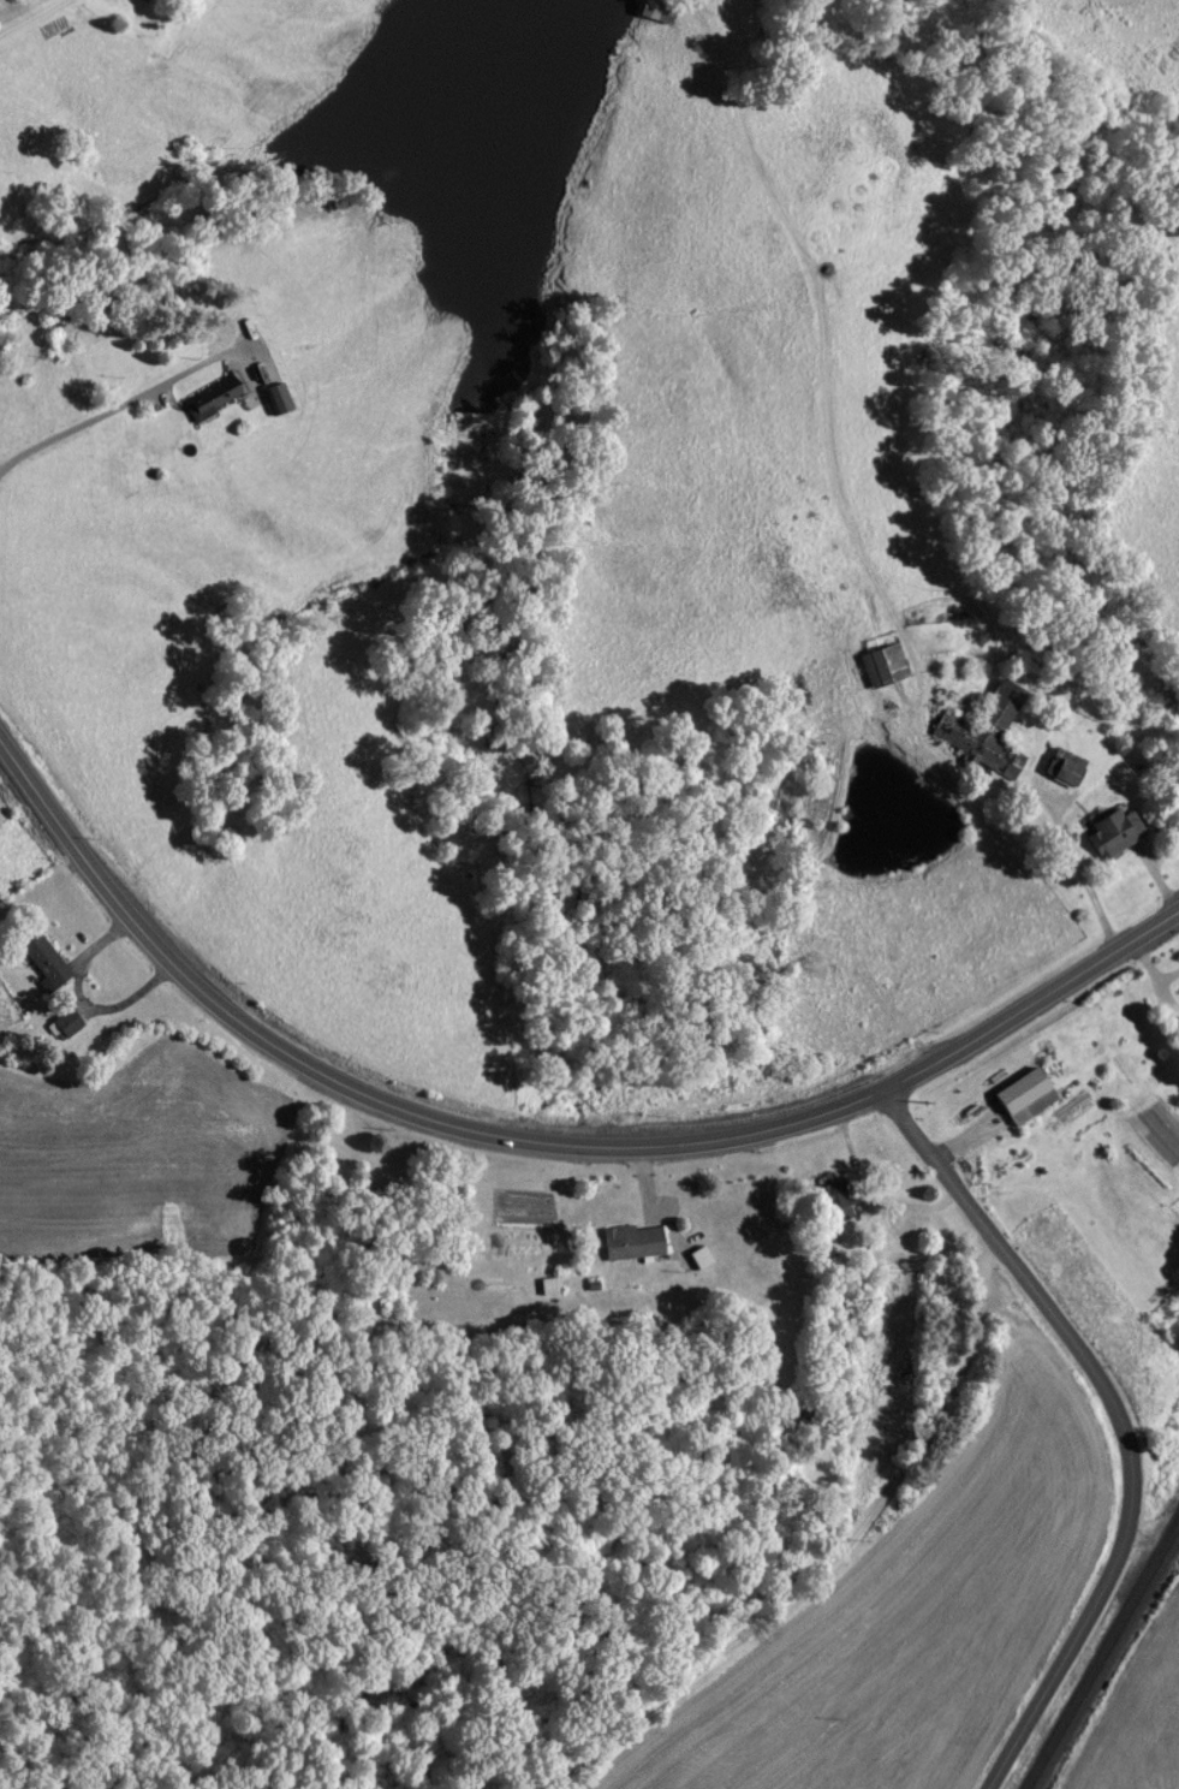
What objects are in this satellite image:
building: (655, 8)
road: (36, 19)
building: (215, 391)
building: (273, 396)
road: (124, 399)
road: (848, 564)
building: (880, 662)
building: (982, 730)
building: (1060, 765)
building: (1109, 831)
building: (43, 958)
building: (64, 1021)
building: (1175, 1023)
building: (1029, 1089)
road: (536, 1140)
building: (830, 1199)
building: (630, 1241)
building: (691, 1254)
road: (973, 1336)
building: (796, 1411)
road: (1121, 1420)
railway: (1102, 1656)

